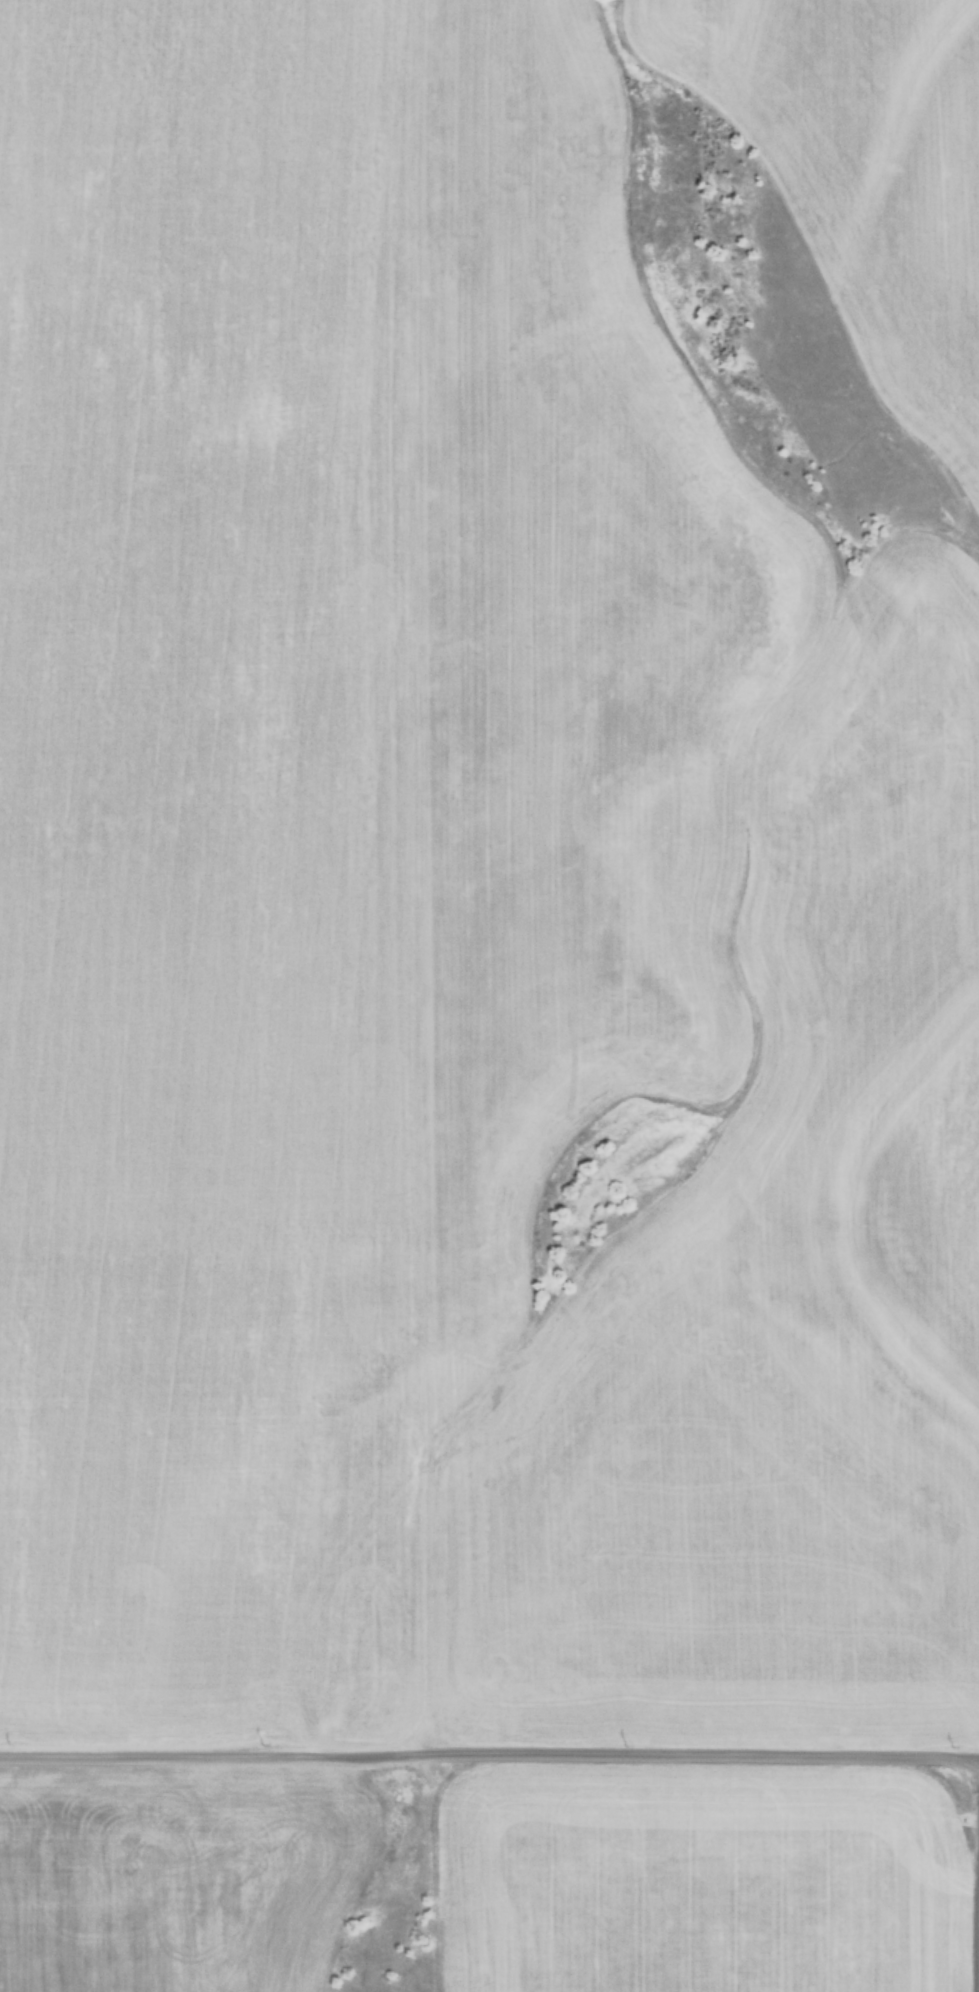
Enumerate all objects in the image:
road: (489, 1748)
road: (977, 1938)

